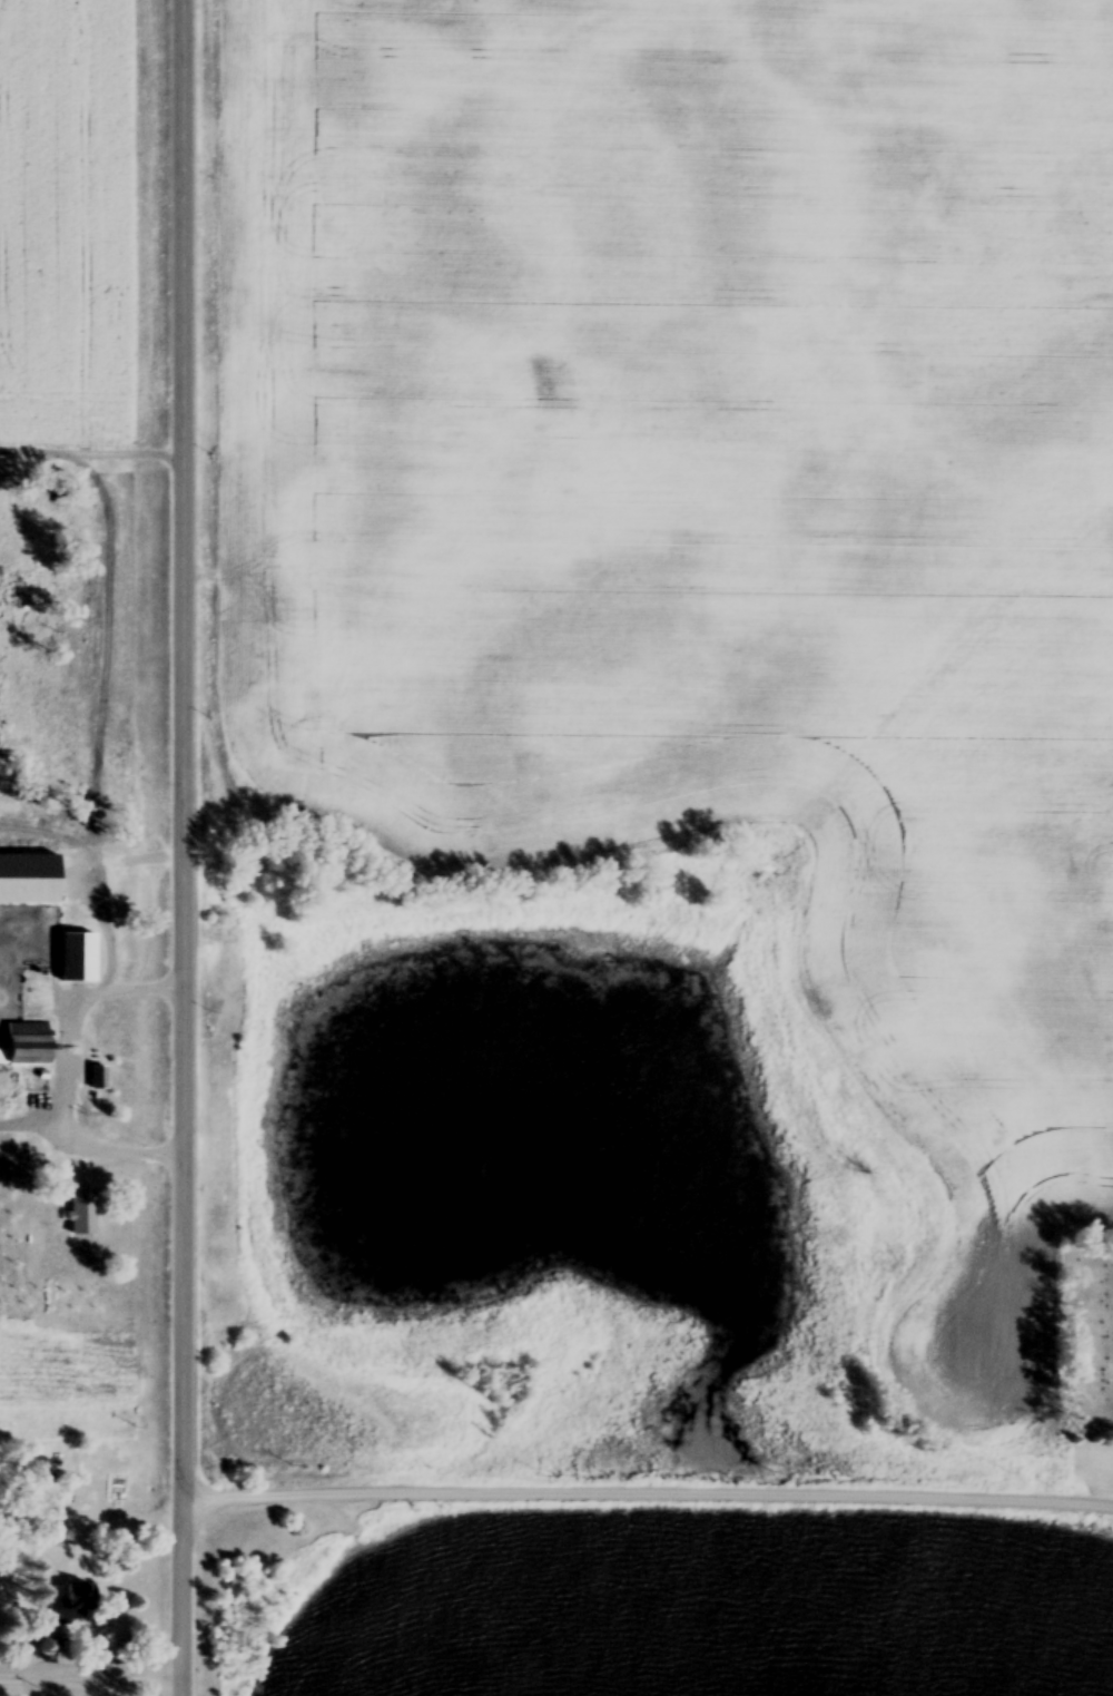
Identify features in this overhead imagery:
road: (91, 457)
road: (180, 847)
building: (3, 895)
building: (82, 961)
building: (30, 1047)
road: (65, 1076)
building: (99, 1080)
road: (33, 1124)
building: (86, 1213)
park: (1090, 1339)
road: (644, 1496)
building: (73, 1608)
road: (89, 1674)

